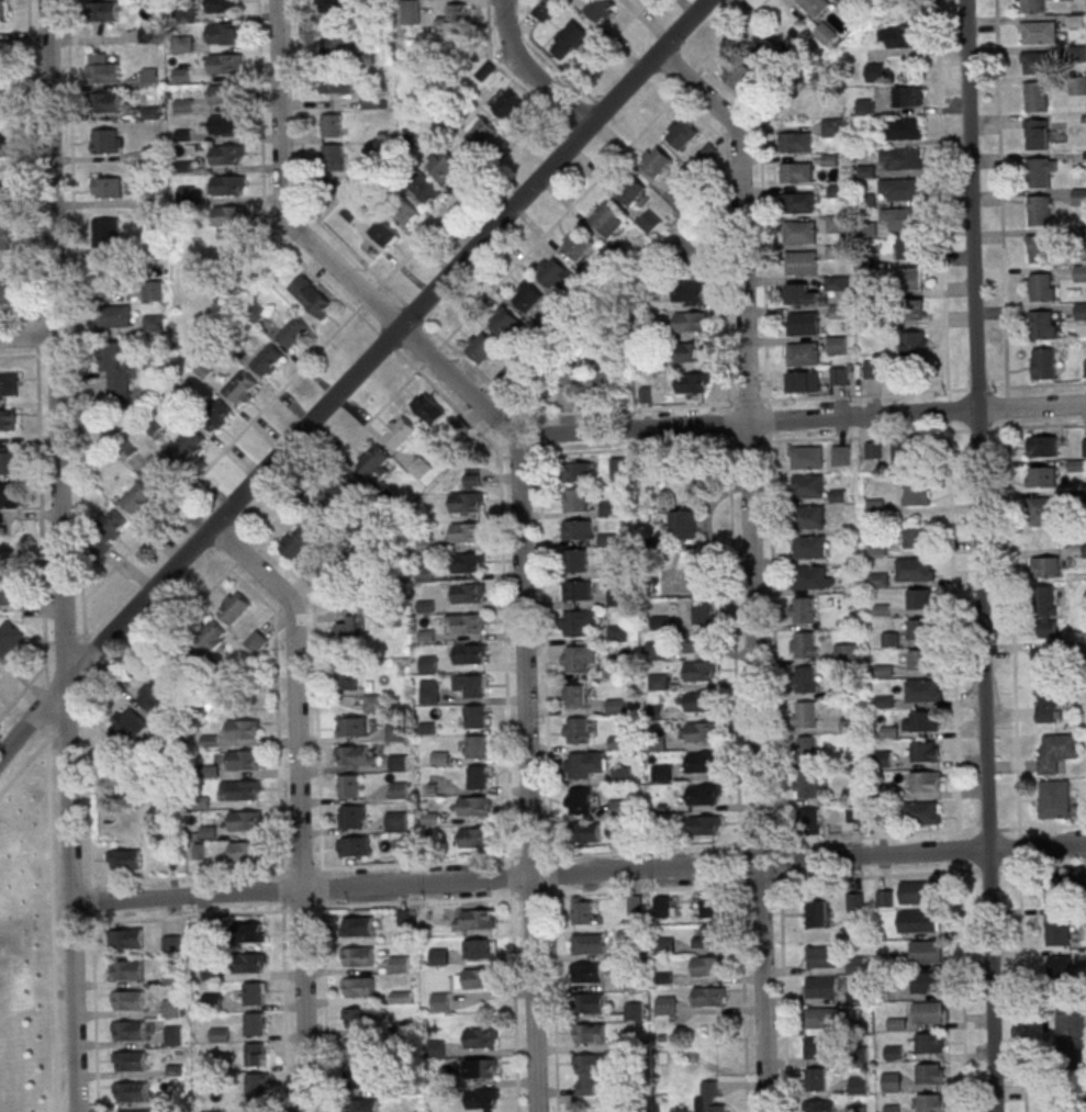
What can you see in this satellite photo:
building: (222, 5)
building: (332, 5)
building: (814, 7)
building: (1032, 7)
building: (2, 9)
building: (544, 9)
building: (600, 9)
building: (102, 11)
building: (411, 12)
building: (454, 19)
building: (1038, 32)
building: (224, 33)
building: (824, 33)
road: (731, 36)
building: (897, 36)
building: (338, 38)
building: (567, 41)
building: (764, 48)
building: (2, 59)
building: (1035, 63)
building: (223, 64)
building: (100, 68)
building: (484, 71)
road: (528, 71)
building: (736, 72)
building: (875, 72)
building: (148, 77)
road: (688, 80)
building: (335, 85)
building: (224, 93)
building: (907, 97)
building: (1035, 97)
building: (4, 101)
building: (107, 102)
building: (507, 105)
building: (862, 108)
building: (225, 124)
building: (331, 125)
building: (831, 127)
building: (905, 128)
building: (683, 134)
building: (1037, 134)
building: (477, 135)
building: (107, 141)
building: (795, 142)
road: (512, 145)
building: (5, 147)
building: (226, 156)
building: (332, 157)
road: (31, 158)
road: (301, 158)
building: (898, 159)
building: (656, 162)
building: (446, 166)
building: (795, 171)
building: (1041, 172)
building: (226, 186)
building: (107, 187)
road: (280, 188)
building: (900, 188)
road: (262, 190)
building: (630, 190)
building: (423, 191)
building: (3, 195)
building: (1078, 196)
road: (1000, 199)
road: (941, 200)
building: (797, 203)
building: (1039, 210)
building: (349, 212)
building: (404, 212)
building: (224, 215)
building: (604, 217)
road: (559, 218)
building: (900, 218)
building: (648, 222)
building: (836, 224)
building: (105, 232)
building: (382, 233)
building: (798, 233)
building: (4, 238)
road: (723, 243)
building: (578, 245)
building: (907, 248)
building: (1039, 248)
building: (692, 251)
building: (800, 262)
building: (552, 272)
building: (1079, 272)
building: (105, 279)
building: (911, 279)
building: (836, 283)
building: (1042, 287)
building: (152, 290)
building: (5, 292)
building: (690, 293)
building: (799, 294)
building: (311, 295)
road: (368, 297)
building: (528, 299)
road: (74, 300)
building: (910, 310)
building: (1081, 311)
building: (836, 312)
building: (113, 316)
building: (690, 321)
building: (153, 323)
building: (802, 323)
building: (504, 324)
building: (1042, 324)
building: (292, 332)
road: (27, 337)
road: (36, 337)
road: (384, 340)
building: (836, 345)
building: (914, 345)
building: (480, 348)
building: (690, 352)
building: (802, 353)
road: (428, 356)
building: (267, 360)
building: (1042, 363)
building: (872, 369)
building: (115, 371)
road: (350, 375)
building: (838, 377)
building: (598, 380)
building: (802, 381)
road: (486, 382)
building: (690, 383)
building: (9, 385)
road: (1037, 385)
building: (240, 387)
road: (977, 389)
road: (863, 395)
road: (747, 402)
road: (766, 405)
building: (427, 407)
road: (1007, 407)
road: (628, 408)
road: (948, 409)
building: (214, 416)
building: (8, 419)
road: (768, 420)
road: (727, 424)
road: (719, 425)
road: (948, 426)
road: (1001, 427)
road: (978, 429)
building: (399, 434)
road: (533, 435)
road: (768, 440)
road: (748, 441)
building: (188, 442)
building: (1041, 446)
road: (632, 449)
building: (872, 450)
building: (909, 450)
road: (336, 456)
road: (519, 456)
building: (840, 456)
road: (503, 457)
building: (804, 457)
building: (8, 461)
building: (373, 461)
building: (419, 468)
building: (616, 468)
building: (161, 470)
building: (576, 471)
building: (1040, 476)
road: (195, 480)
building: (807, 485)
building: (348, 490)
building: (916, 492)
building: (10, 495)
building: (467, 496)
building: (137, 499)
building: (574, 499)
building: (1040, 510)
building: (809, 516)
building: (322, 517)
road: (40, 520)
building: (684, 525)
building: (575, 529)
building: (467, 532)
building: (916, 538)
road: (770, 541)
building: (295, 544)
building: (808, 547)
road: (61, 555)
road: (243, 555)
road: (981, 555)
building: (574, 560)
building: (467, 562)
road: (749, 564)
building: (1044, 568)
building: (913, 569)
building: (311, 573)
building: (423, 573)
building: (809, 576)
road: (501, 580)
building: (11, 591)
building: (576, 591)
building: (468, 593)
building: (920, 598)
building: (233, 607)
building: (800, 609)
building: (702, 611)
building: (1045, 611)
building: (575, 621)
building: (467, 624)
building: (919, 629)
building: (344, 630)
building: (9, 637)
building: (209, 637)
building: (255, 641)
building: (697, 641)
building: (802, 644)
road: (157, 645)
road: (542, 650)
building: (654, 650)
building: (844, 652)
building: (469, 654)
building: (576, 658)
building: (919, 659)
building: (1044, 659)
building: (427, 663)
building: (183, 666)
building: (698, 672)
building: (346, 677)
building: (803, 679)
building: (657, 682)
building: (470, 686)
building: (922, 690)
building: (428, 692)
road: (22, 693)
road: (315, 693)
building: (574, 695)
building: (154, 696)
building: (1044, 699)
building: (698, 701)
building: (372, 703)
road: (46, 705)
building: (616, 706)
road: (276, 710)
building: (804, 715)
building: (474, 716)
building: (920, 720)
building: (127, 726)
building: (351, 726)
road: (65, 727)
building: (242, 730)
building: (574, 730)
building: (699, 731)
building: (393, 732)
building: (475, 746)
building: (805, 749)
building: (925, 751)
building: (1054, 751)
building: (355, 755)
building: (243, 760)
road: (26, 761)
building: (396, 762)
building: (699, 762)
building: (576, 765)
road: (1016, 770)
road: (956, 772)
building: (660, 773)
road: (527, 774)
road: (737, 775)
building: (477, 777)
building: (925, 780)
road: (87, 783)
building: (806, 785)
building: (348, 786)
building: (396, 789)
building: (244, 791)
building: (701, 795)
building: (1053, 799)
road: (298, 801)
building: (578, 801)
building: (473, 806)
building: (615, 808)
building: (921, 812)
building: (350, 817)
building: (245, 821)
building: (394, 821)
building: (808, 821)
building: (702, 825)
building: (585, 832)
building: (472, 838)
road: (814, 841)
building: (352, 846)
building: (245, 852)
road: (529, 855)
road: (549, 858)
building: (123, 861)
road: (508, 861)
road: (414, 862)
road: (300, 870)
road: (321, 872)
road: (280, 874)
road: (579, 874)
road: (549, 875)
road: (188, 876)
road: (510, 877)
road: (814, 880)
building: (1082, 880)
road: (321, 888)
road: (280, 890)
building: (916, 892)
building: (1057, 892)
road: (530, 896)
building: (853, 900)
road: (415, 902)
building: (632, 905)
building: (708, 905)
building: (662, 906)
road: (316, 908)
road: (300, 909)
building: (580, 910)
building: (819, 912)
road: (190, 916)
road: (51, 919)
building: (473, 919)
building: (917, 920)
building: (356, 926)
building: (203, 930)
building: (1056, 930)
building: (249, 932)
building: (706, 937)
building: (126, 939)
building: (587, 943)
building: (170, 944)
building: (662, 945)
building: (478, 948)
building: (925, 952)
building: (437, 956)
building: (357, 958)
building: (821, 958)
building: (248, 963)
building: (399, 964)
building: (707, 966)
building: (1064, 966)
building: (126, 971)
building: (586, 973)
building: (170, 977)
road: (782, 977)
building: (473, 978)
building: (926, 981)
building: (821, 987)
building: (358, 988)
building: (254, 993)
building: (708, 997)
road: (93, 1000)
road: (513, 1000)
road: (551, 1000)
building: (127, 1001)
building: (211, 1001)
building: (439, 1001)
building: (586, 1002)
building: (664, 1006)
building: (171, 1008)
road: (283, 1008)
road: (323, 1010)
building: (631, 1011)
building: (927, 1012)
building: (358, 1019)
building: (820, 1020)
building: (253, 1023)
building: (1070, 1027)
building: (128, 1032)
building: (172, 1034)
building: (219, 1034)
building: (587, 1034)
building: (479, 1037)
building: (928, 1043)
building: (816, 1047)
building: (359, 1048)
building: (893, 1053)
building: (255, 1054)
building: (130, 1063)
building: (478, 1068)
building: (586, 1074)
building: (929, 1074)
building: (360, 1079)
building: (814, 1079)
building: (891, 1081)
building: (130, 1092)
building: (256, 1092)
building: (481, 1100)
building: (930, 1103)
building: (819, 1105)
building: (361, 1107)
building: (892, 1108)
building: (715, 1109)
building: (133, 1111)

